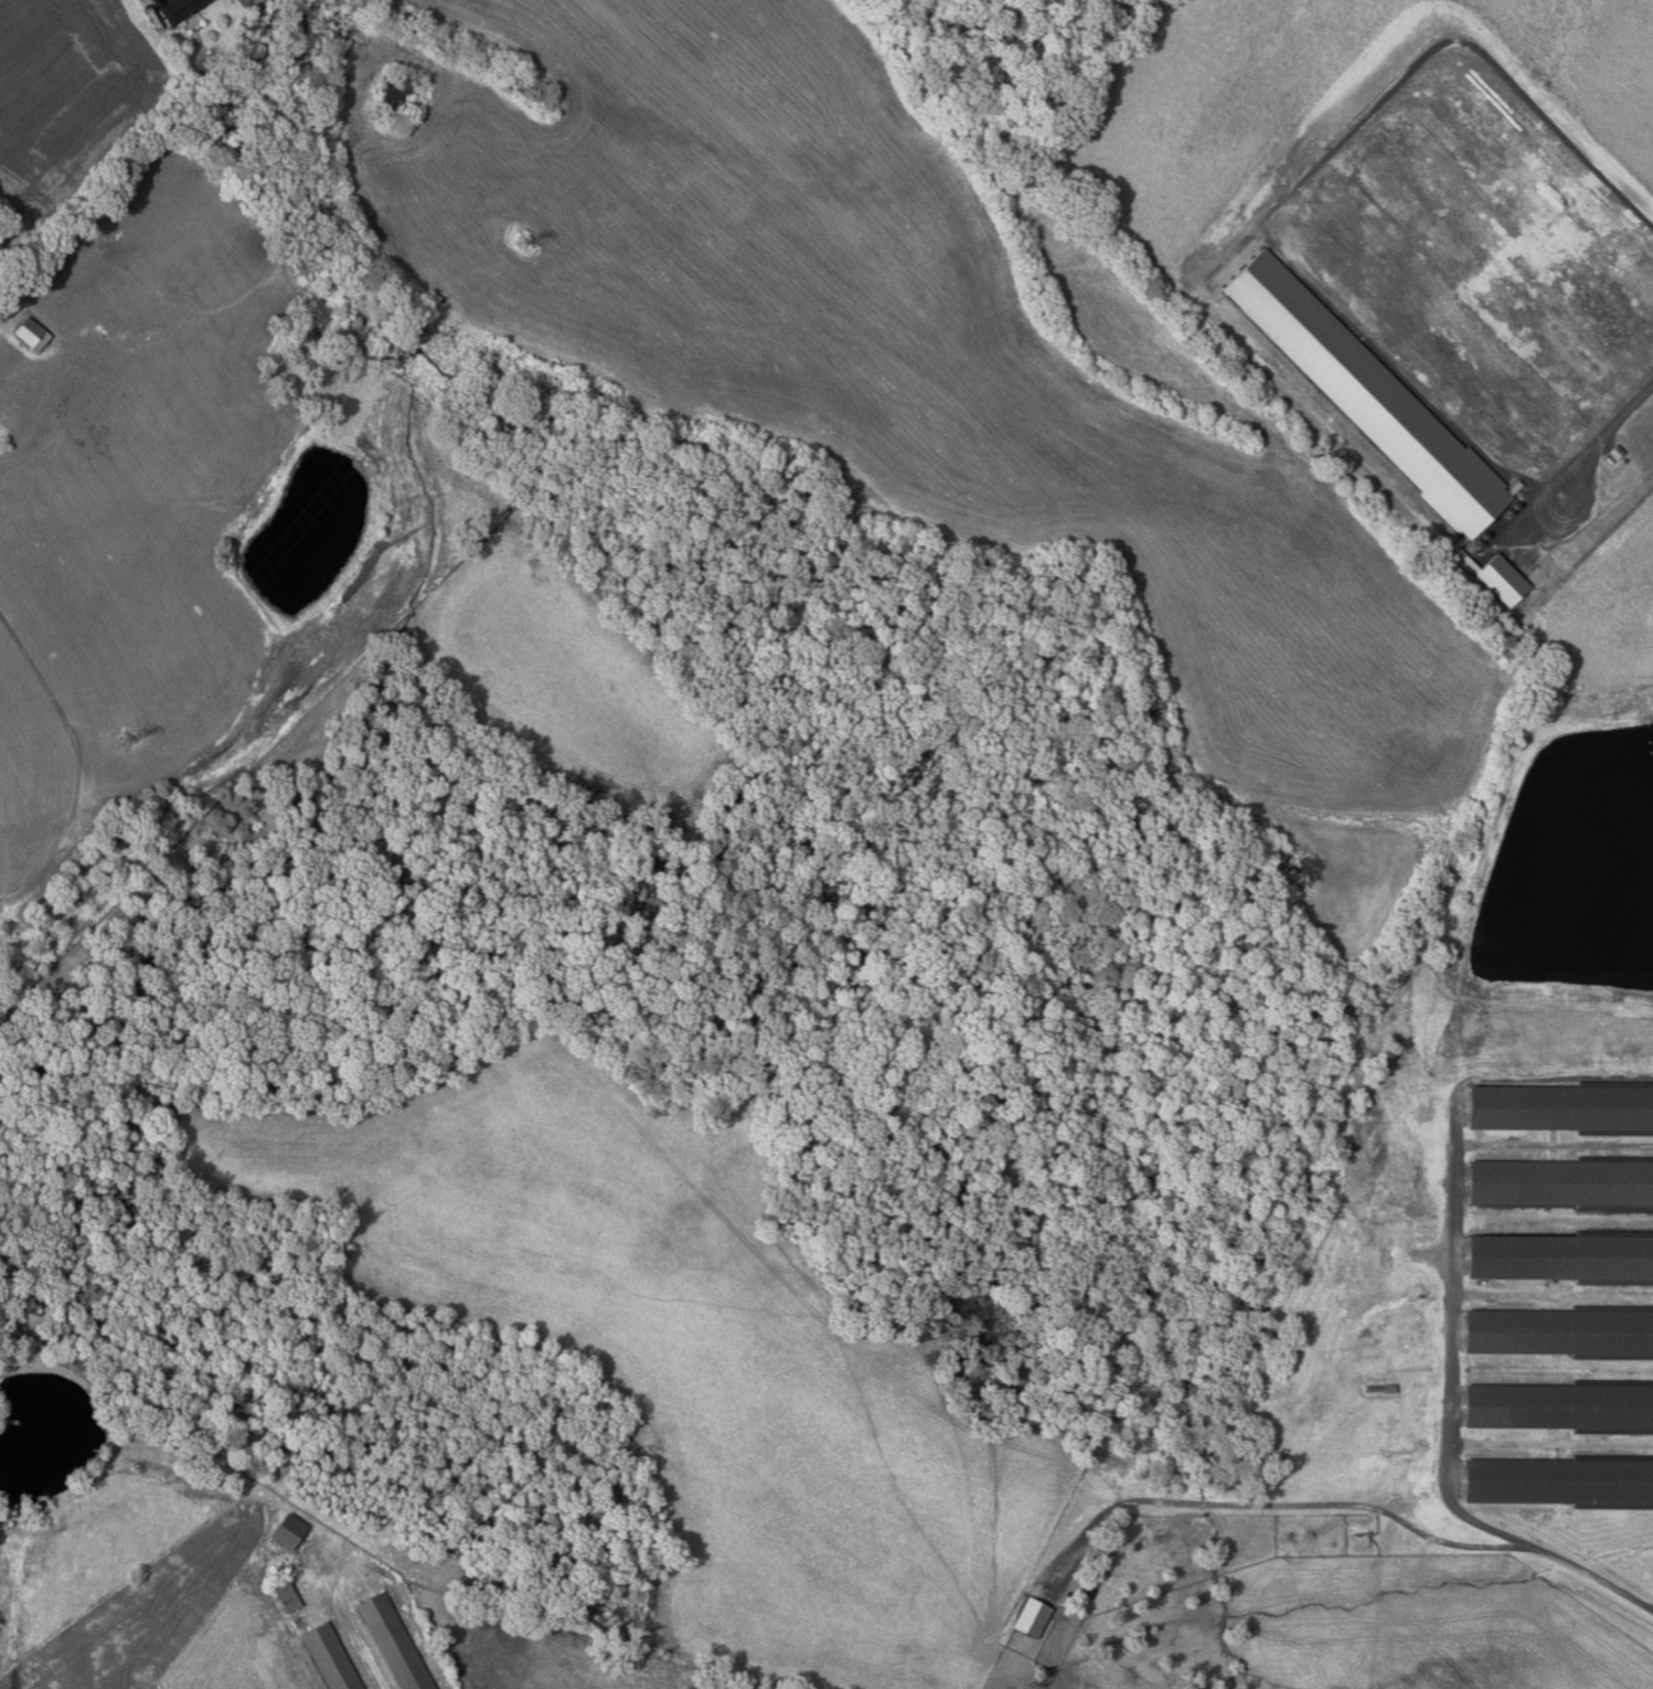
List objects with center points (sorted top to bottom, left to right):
building: (182, 10)
building: (397, 95)
road: (1268, 220)
power tower: (523, 245)
building: (32, 333)
building: (1372, 395)
building: (1618, 452)
building: (1505, 581)
power tower: (126, 739)
building: (1561, 1108)
building: (1561, 1182)
building: (1560, 1257)
building: (1558, 1331)
building: (1563, 1406)
building: (1564, 1481)
road: (1347, 1504)
building: (288, 1531)
building: (288, 1597)
crop: (145, 1613)
building: (1033, 1617)
building: (395, 1643)
building: (331, 1658)

